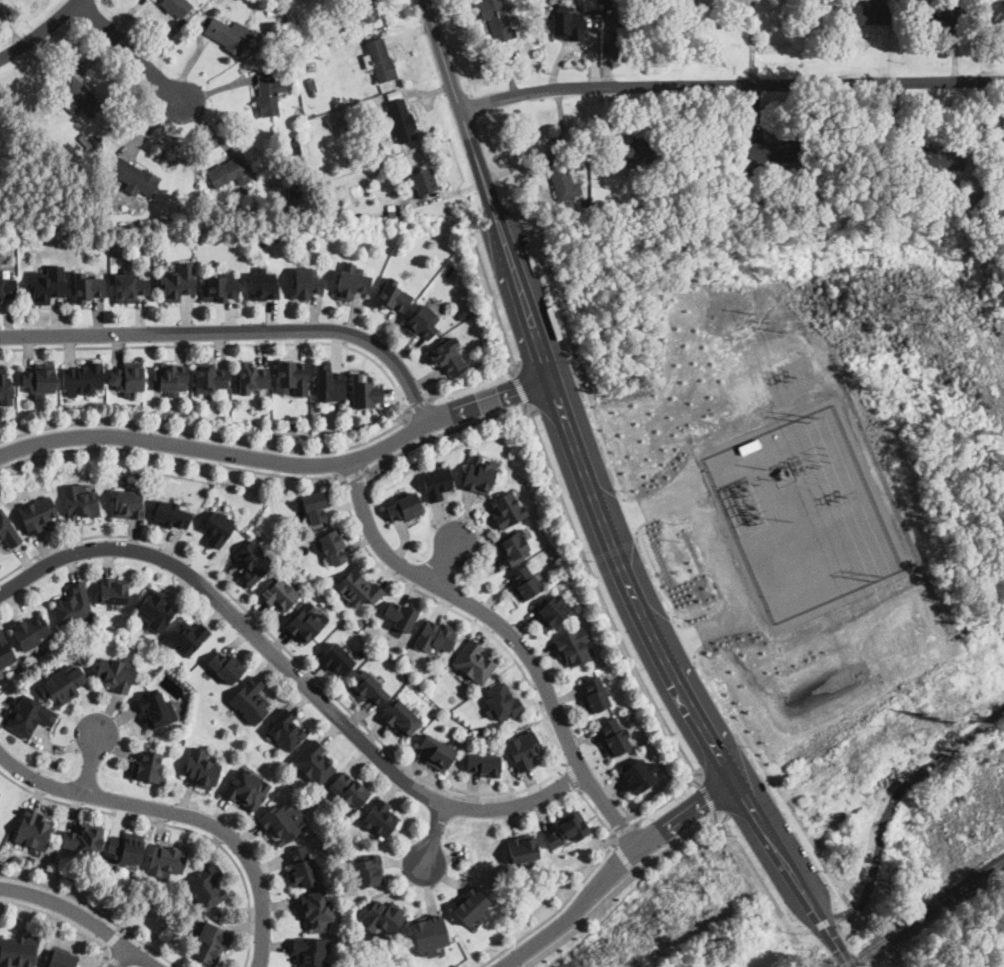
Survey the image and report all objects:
building: (711, 2)
building: (176, 7)
building: (367, 10)
building: (998, 10)
building: (270, 12)
building: (866, 12)
building: (941, 12)
building: (496, 20)
building: (568, 25)
road: (41, 32)
building: (229, 34)
building: (296, 41)
road: (133, 51)
building: (379, 63)
building: (310, 81)
road: (731, 82)
building: (267, 94)
building: (79, 97)
building: (297, 109)
building: (401, 119)
building: (97, 143)
building: (295, 145)
building: (633, 149)
building: (772, 151)
building: (380, 152)
building: (366, 155)
building: (937, 157)
building: (553, 163)
building: (229, 173)
building: (137, 178)
building: (610, 178)
building: (563, 181)
building: (415, 182)
building: (296, 193)
building: (185, 208)
building: (391, 211)
building: (275, 237)
building: (351, 282)
building: (178, 283)
building: (306, 283)
building: (47, 284)
building: (262, 285)
building: (86, 286)
building: (129, 286)
building: (7, 288)
building: (220, 289)
building: (391, 296)
power tower: (923, 310)
building: (421, 322)
power tower: (765, 322)
road: (235, 330)
road: (508, 343)
building: (446, 354)
road: (572, 356)
road: (513, 373)
building: (128, 377)
building: (292, 377)
building: (40, 378)
building: (83, 378)
building: (209, 378)
building: (250, 378)
building: (171, 379)
building: (329, 383)
building: (5, 387)
road: (522, 389)
building: (364, 391)
road: (405, 405)
road: (418, 405)
power tower: (808, 418)
building: (357, 420)
road: (445, 432)
road: (281, 461)
building: (479, 473)
road: (355, 474)
building: (436, 481)
building: (81, 500)
road: (595, 502)
building: (128, 505)
building: (315, 506)
building: (404, 507)
building: (506, 509)
power substation: (803, 512)
road: (632, 514)
building: (37, 515)
building: (170, 515)
building: (217, 528)
building: (8, 531)
building: (0, 543)
building: (332, 546)
building: (512, 548)
road: (724, 551)
road: (443, 561)
building: (253, 563)
power tower: (875, 575)
road: (656, 578)
building: (524, 582)
building: (358, 586)
building: (113, 591)
building: (278, 594)
building: (73, 606)
building: (155, 610)
building: (551, 611)
building: (401, 616)
building: (305, 622)
road: (617, 631)
building: (29, 632)
road: (510, 633)
building: (434, 635)
building: (185, 638)
road: (687, 641)
building: (573, 647)
building: (5, 653)
building: (335, 660)
building: (475, 660)
building: (225, 667)
building: (116, 672)
road: (291, 672)
building: (62, 684)
building: (368, 689)
building: (593, 694)
building: (250, 700)
building: (503, 701)
building: (156, 709)
power tower: (931, 714)
building: (28, 715)
building: (401, 717)
building: (285, 729)
building: (613, 736)
road: (557, 744)
building: (437, 750)
building: (524, 750)
building: (314, 762)
road: (91, 763)
building: (483, 764)
building: (149, 766)
building: (201, 769)
building: (638, 774)
road: (573, 776)
road: (698, 783)
road: (770, 785)
building: (247, 787)
building: (350, 790)
road: (708, 797)
road: (893, 801)
road: (715, 812)
road: (181, 814)
building: (380, 819)
building: (283, 821)
road: (172, 825)
building: (33, 828)
road: (624, 830)
building: (564, 831)
road: (433, 832)
building: (84, 838)
road: (681, 838)
building: (126, 847)
building: (522, 849)
road: (624, 857)
building: (167, 859)
building: (301, 867)
road: (612, 868)
building: (367, 872)
power tower: (699, 883)
building: (208, 885)
road: (575, 889)
building: (470, 907)
road: (94, 908)
building: (316, 909)
building: (382, 917)
road: (81, 918)
road: (65, 921)
road: (823, 923)
building: (427, 934)
building: (210, 942)
building: (18, 950)
building: (311, 951)
road: (119, 957)
building: (61, 959)
road: (113, 962)

